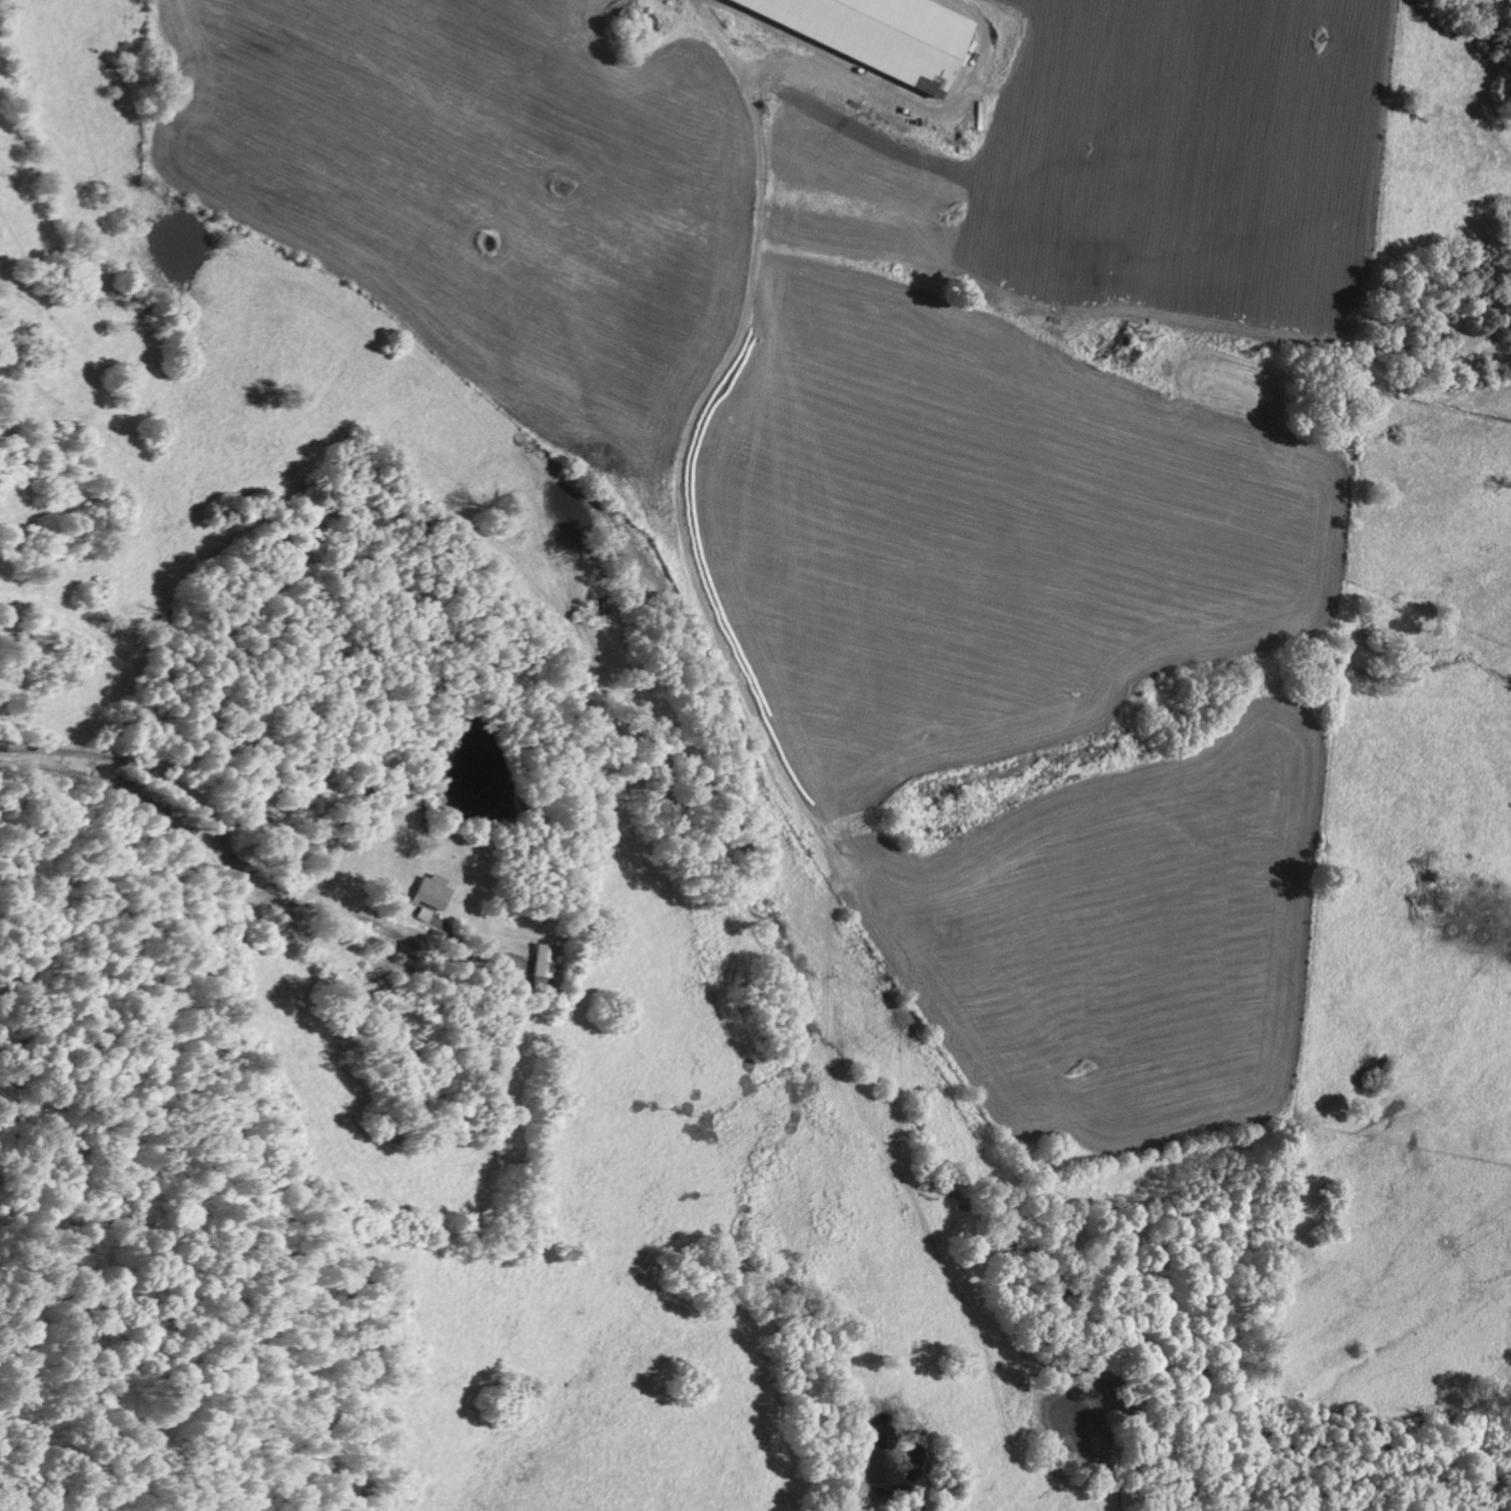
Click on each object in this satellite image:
road: (696, 9)
building: (880, 32)
road: (149, 771)
building: (431, 891)
road: (331, 908)
building: (543, 964)

